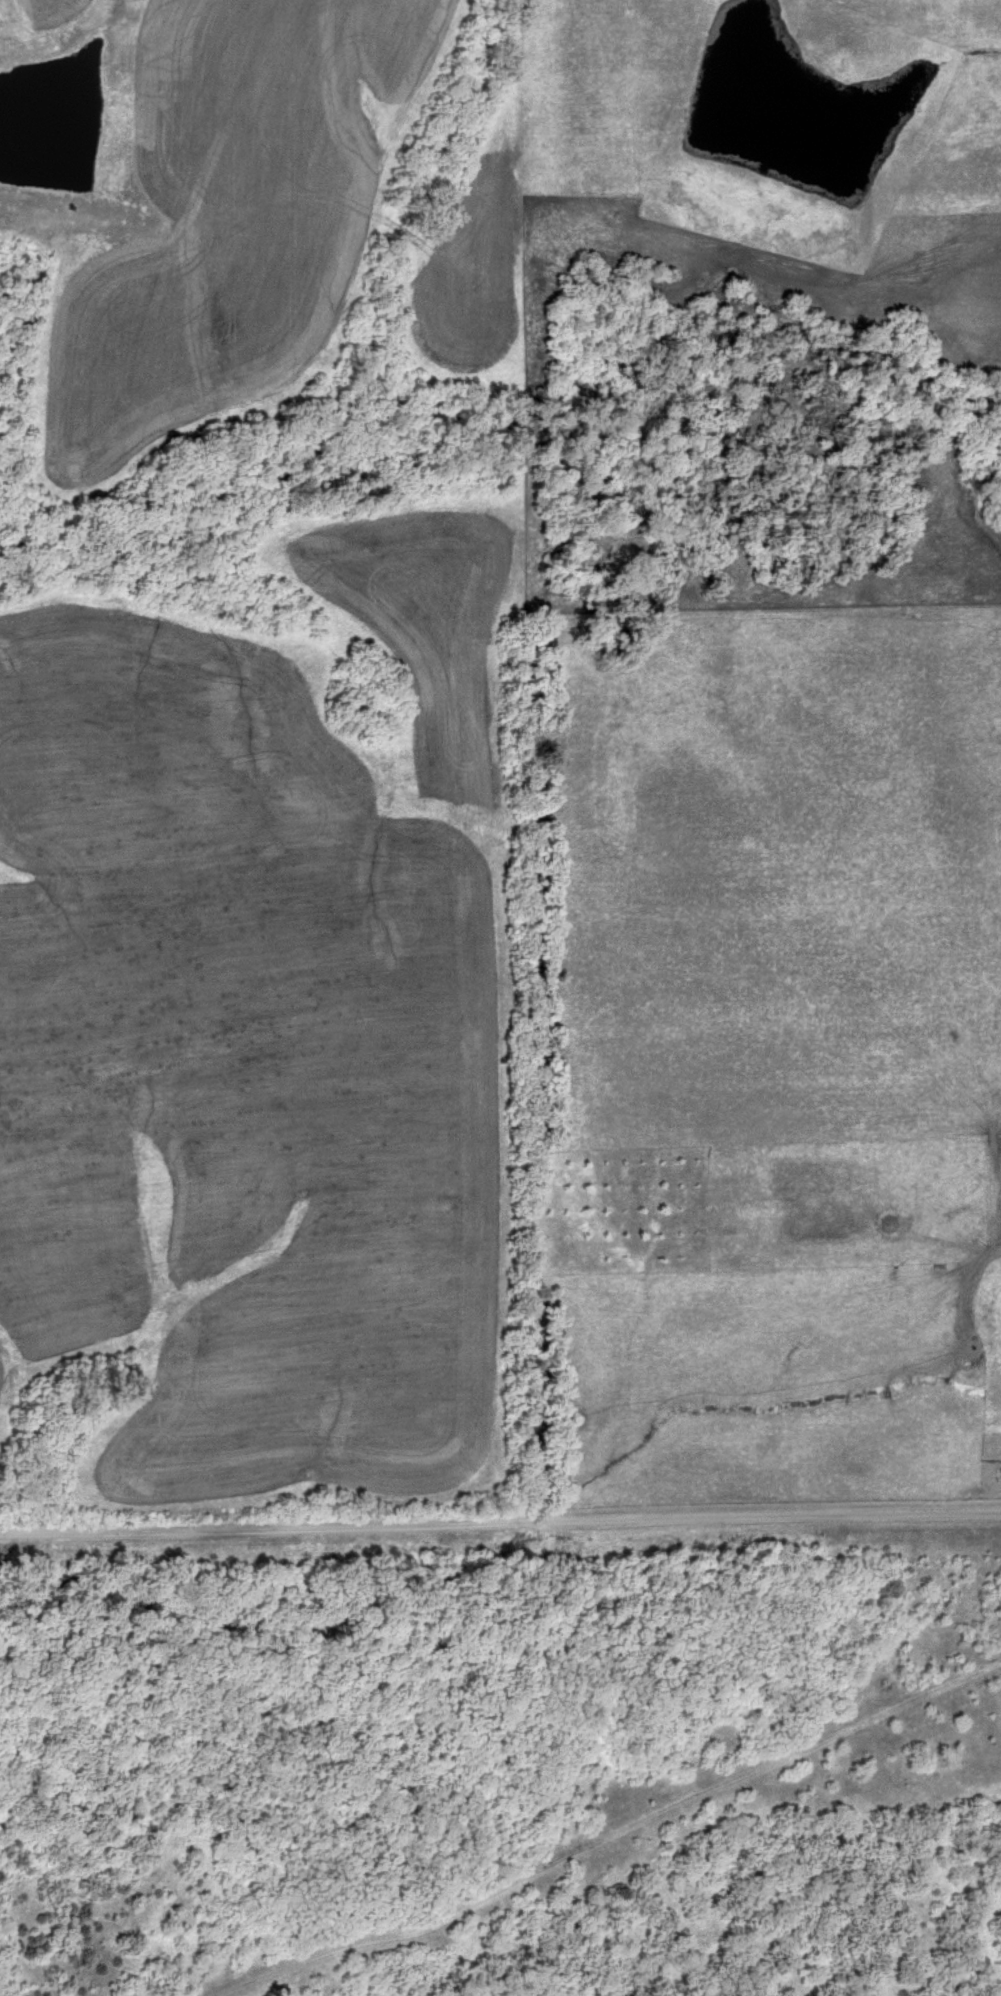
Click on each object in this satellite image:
road: (500, 1523)

